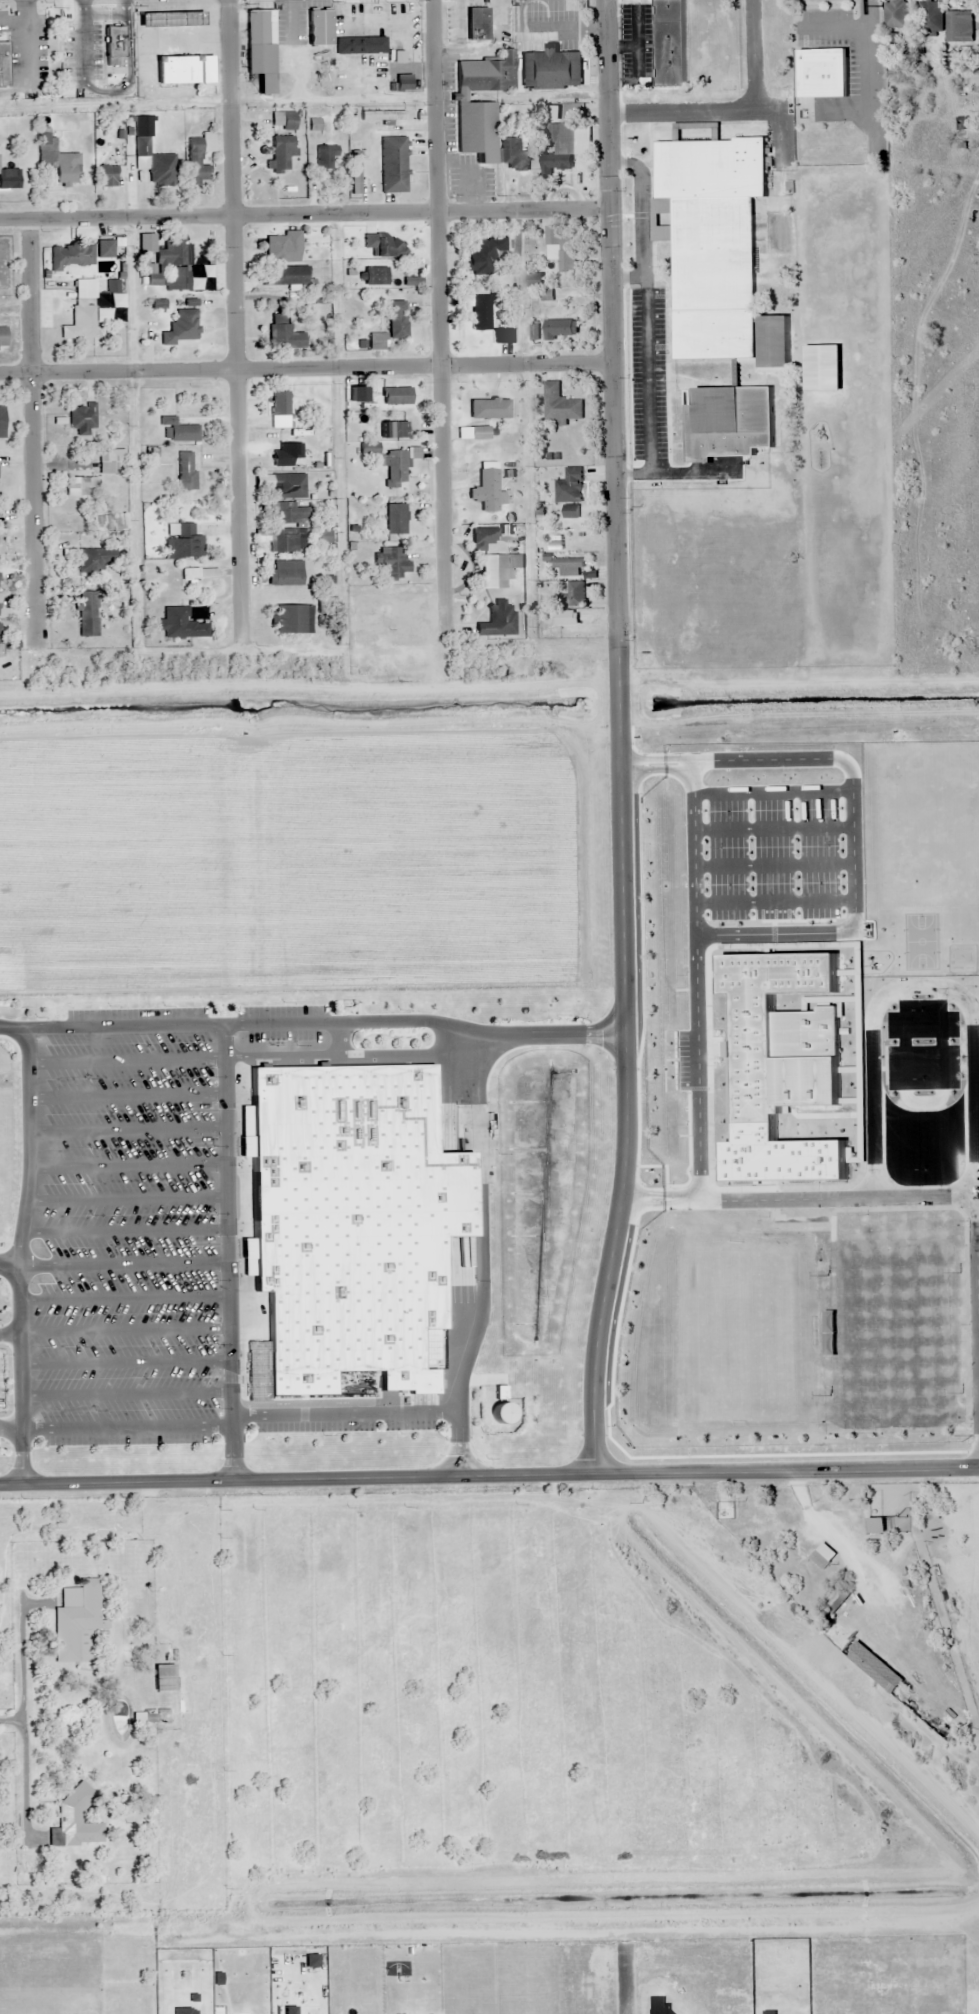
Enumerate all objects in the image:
building: (895, 14)
building: (930, 18)
building: (169, 19)
building: (476, 24)
building: (959, 25)
building: (319, 27)
building: (669, 42)
building: (113, 44)
building: (360, 45)
building: (261, 49)
building: (3, 64)
building: (177, 69)
building: (550, 69)
building: (822, 73)
road: (763, 96)
building: (481, 104)
building: (288, 121)
building: (562, 146)
building: (282, 151)
building: (514, 155)
building: (199, 158)
building: (326, 158)
building: (57, 160)
building: (156, 164)
building: (393, 164)
building: (356, 172)
building: (105, 175)
building: (10, 179)
road: (305, 213)
building: (711, 238)
building: (384, 245)
building: (282, 247)
building: (560, 248)
building: (105, 249)
building: (484, 254)
building: (70, 257)
building: (168, 264)
building: (286, 276)
building: (375, 276)
building: (96, 286)
building: (481, 313)
building: (81, 321)
road: (235, 321)
road: (441, 321)
road: (614, 322)
building: (391, 326)
building: (181, 328)
building: (561, 329)
building: (283, 334)
building: (503, 334)
building: (2, 338)
building: (774, 342)
building: (821, 367)
road: (307, 372)
building: (357, 391)
building: (397, 396)
building: (560, 404)
building: (279, 409)
building: (490, 409)
building: (82, 419)
building: (728, 421)
building: (2, 422)
road: (38, 428)
building: (393, 430)
building: (177, 431)
building: (479, 433)
building: (286, 455)
building: (111, 461)
building: (395, 469)
building: (186, 471)
building: (81, 486)
building: (570, 486)
building: (288, 487)
building: (487, 491)
building: (570, 512)
building: (291, 513)
building: (396, 519)
building: (109, 522)
building: (486, 537)
building: (287, 540)
building: (184, 543)
building: (92, 560)
building: (392, 561)
building: (569, 566)
building: (500, 570)
building: (286, 573)
building: (575, 594)
building: (89, 614)
building: (564, 618)
building: (293, 619)
building: (498, 620)
building: (181, 625)
building: (1, 640)
road: (656, 764)
road: (772, 791)
road: (772, 827)
road: (852, 846)
road: (773, 865)
road: (774, 901)
road: (694, 980)
road: (313, 1021)
road: (972, 1059)
road: (127, 1061)
road: (625, 1063)
building: (780, 1065)
road: (128, 1096)
road: (128, 1131)
road: (129, 1165)
road: (797, 1198)
road: (128, 1199)
building: (351, 1223)
parking lot: (147, 1225)
road: (125, 1231)
road: (228, 1252)
road: (19, 1255)
road: (481, 1257)
road: (123, 1262)
road: (9, 1264)
road: (124, 1298)
road: (125, 1329)
road: (9, 1332)
road: (126, 1361)
road: (126, 1393)
road: (344, 1413)
road: (128, 1427)
road: (11, 1429)
road: (489, 1479)
building: (879, 1525)
building: (820, 1560)
building: (835, 1602)
building: (75, 1619)
building: (871, 1666)
building: (164, 1677)
building: (143, 1718)
building: (74, 1821)

